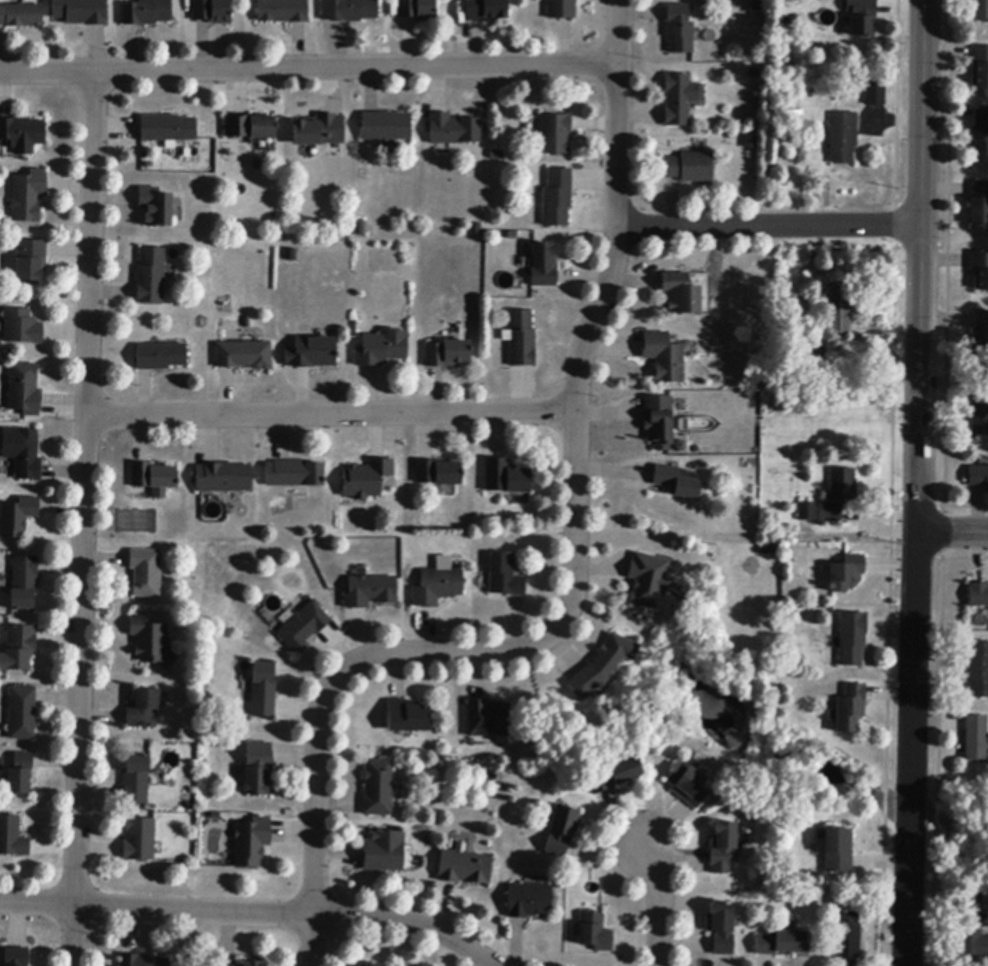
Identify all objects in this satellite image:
building: (756, 6)
building: (562, 9)
building: (349, 10)
building: (418, 10)
building: (486, 10)
building: (981, 10)
building: (212, 11)
building: (283, 11)
building: (81, 12)
building: (147, 13)
building: (21, 16)
building: (862, 17)
building: (680, 30)
building: (980, 67)
road: (311, 70)
building: (755, 74)
building: (875, 94)
building: (680, 100)
building: (251, 127)
building: (386, 127)
building: (167, 130)
building: (454, 130)
building: (320, 131)
building: (22, 135)
building: (555, 135)
building: (980, 136)
building: (843, 138)
building: (497, 155)
building: (690, 168)
building: (28, 196)
building: (557, 198)
building: (979, 204)
building: (156, 207)
road: (770, 227)
building: (361, 228)
building: (477, 229)
building: (292, 255)
building: (31, 260)
building: (543, 267)
road: (920, 267)
building: (980, 269)
building: (150, 276)
building: (680, 294)
building: (839, 312)
building: (22, 328)
building: (979, 337)
building: (521, 339)
building: (382, 348)
building: (312, 353)
building: (448, 354)
building: (244, 355)
building: (161, 357)
building: (664, 358)
building: (25, 390)
building: (978, 413)
road: (331, 416)
building: (659, 422)
building: (23, 453)
building: (438, 473)
building: (294, 474)
building: (978, 477)
building: (154, 478)
building: (224, 478)
building: (506, 478)
building: (366, 479)
building: (675, 482)
building: (842, 485)
road: (85, 488)
building: (807, 512)
building: (831, 513)
building: (18, 517)
road: (952, 533)
building: (765, 550)
road: (574, 552)
building: (146, 573)
building: (846, 574)
building: (505, 576)
building: (647, 580)
building: (24, 583)
building: (438, 587)
building: (370, 591)
building: (978, 595)
building: (303, 626)
building: (851, 639)
building: (149, 640)
building: (19, 648)
building: (602, 665)
building: (978, 670)
building: (263, 691)
building: (143, 709)
building: (850, 709)
building: (22, 713)
building: (408, 717)
building: (488, 719)
building: (975, 738)
road: (911, 750)
building: (259, 769)
building: (20, 774)
building: (613, 775)
building: (137, 780)
building: (687, 785)
building: (378, 788)
building: (562, 830)
building: (12, 838)
building: (139, 840)
building: (252, 842)
building: (722, 847)
building: (837, 851)
building: (384, 852)
building: (465, 868)
building: (529, 900)
road: (656, 905)
road: (251, 912)
building: (722, 928)
building: (971, 928)
building: (595, 933)
road: (75, 935)
building: (846, 936)
road: (312, 941)
building: (782, 943)
building: (16, 957)
building: (142, 961)
building: (253, 964)
building: (370, 964)

